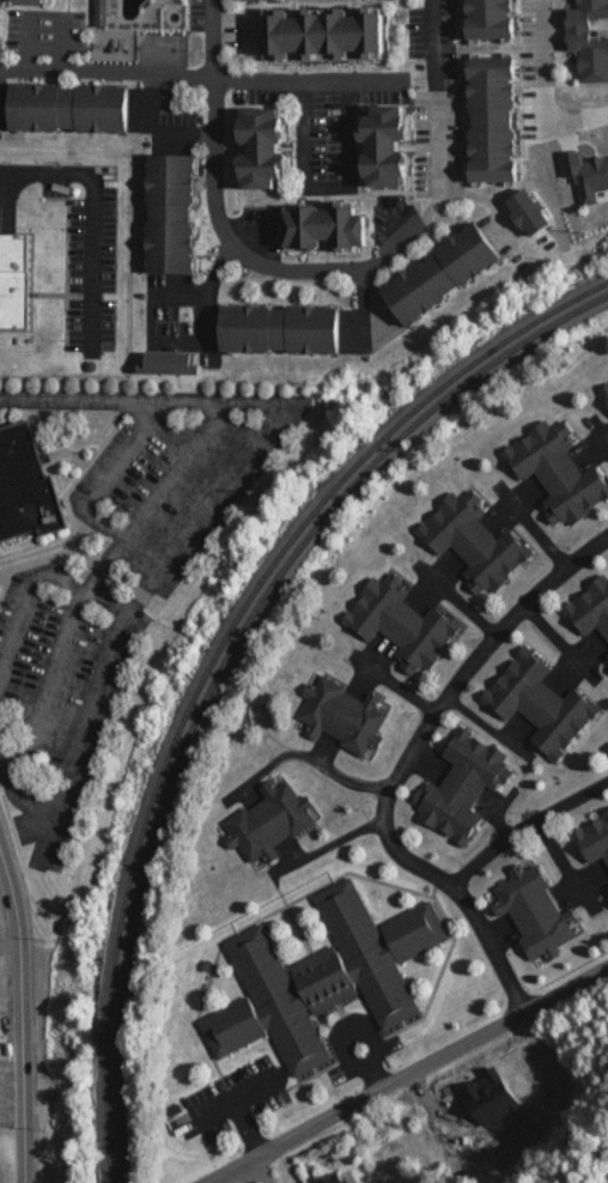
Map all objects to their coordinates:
building: (0, 32)
building: (324, 35)
road: (431, 44)
building: (492, 67)
road: (201, 75)
building: (71, 108)
building: (388, 146)
building: (265, 148)
road: (436, 156)
road: (86, 211)
building: (172, 214)
building: (328, 227)
road: (224, 229)
parking lot: (83, 249)
building: (443, 274)
building: (14, 279)
road: (44, 292)
building: (281, 329)
building: (604, 390)
building: (558, 473)
building: (26, 487)
building: (475, 544)
building: (590, 609)
building: (401, 624)
railway: (214, 651)
railway: (221, 659)
building: (606, 660)
building: (541, 703)
building: (343, 716)
road: (406, 764)
building: (462, 787)
building: (270, 823)
road: (525, 827)
building: (594, 839)
building: (607, 887)
building: (535, 910)
building: (323, 977)
road: (24, 1015)
road: (402, 1073)
road: (254, 1159)
road: (235, 1169)
road: (261, 1173)
road: (239, 1178)
building: (338, 1178)

